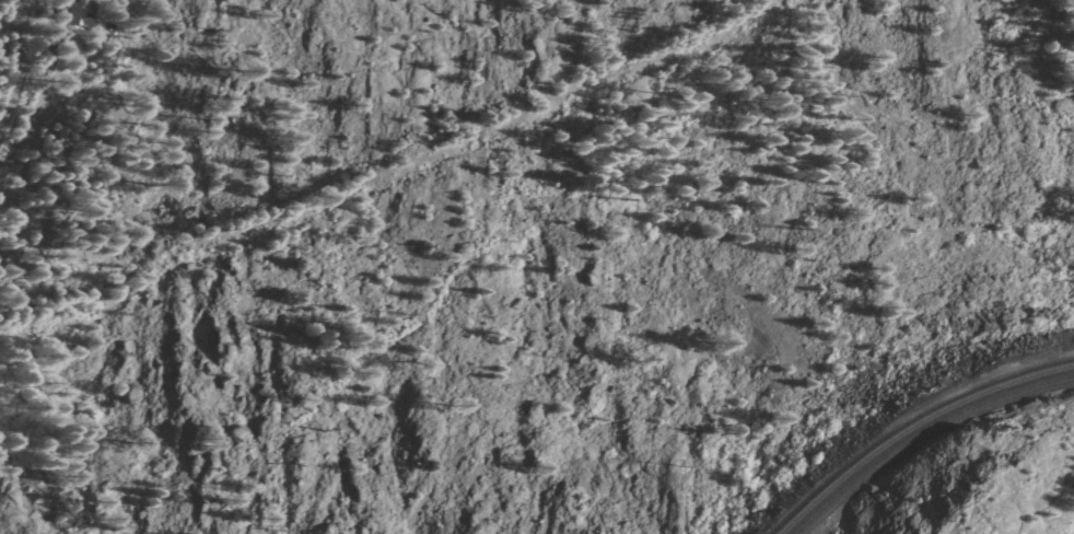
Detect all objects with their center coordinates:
building: (78, 18)
road: (8, 27)
road: (106, 38)
building: (62, 51)
road: (85, 57)
road: (19, 67)
road: (38, 107)
building: (55, 144)
road: (21, 158)
railway: (913, 427)
railway: (924, 434)
railway: (884, 533)

